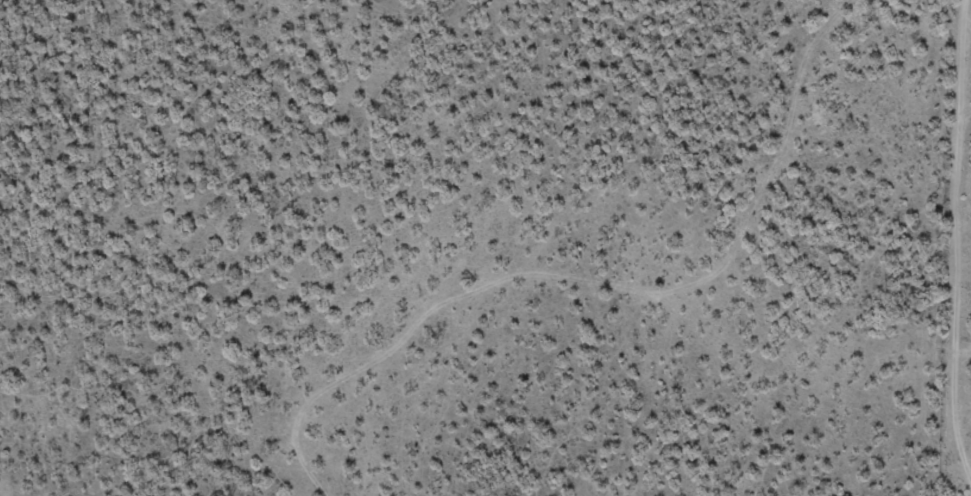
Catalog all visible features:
road: (953, 248)

